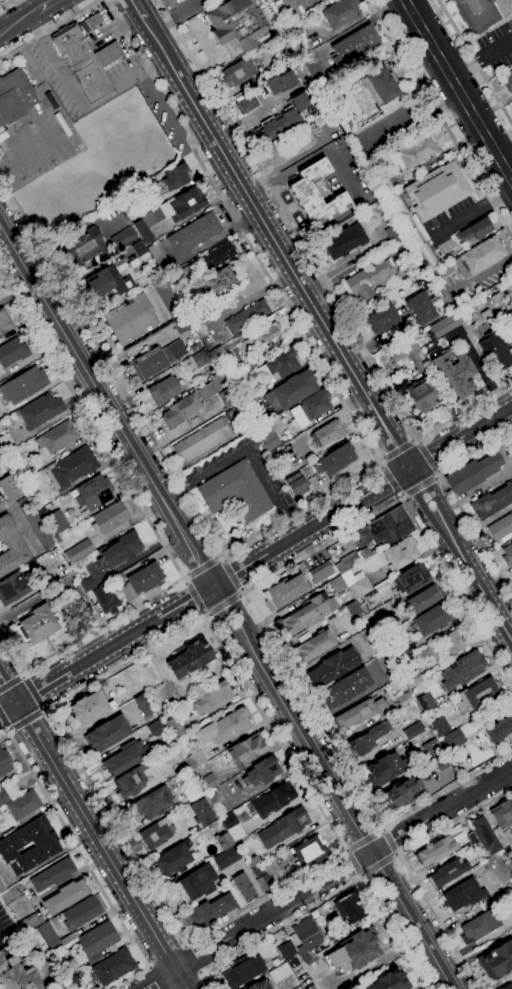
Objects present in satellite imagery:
road: (7, 4)
road: (46, 5)
road: (138, 8)
building: (340, 12)
building: (477, 14)
building: (93, 20)
road: (18, 21)
road: (2, 26)
building: (235, 26)
road: (47, 29)
road: (153, 33)
road: (179, 34)
flagpole: (115, 41)
building: (298, 42)
road: (205, 45)
building: (353, 45)
parking lot: (498, 46)
road: (149, 56)
road: (481, 59)
building: (86, 60)
road: (475, 61)
road: (172, 65)
building: (312, 66)
building: (238, 72)
building: (508, 80)
building: (281, 82)
building: (381, 85)
road: (458, 89)
road: (75, 95)
building: (15, 96)
building: (246, 103)
road: (251, 117)
road: (166, 118)
road: (441, 118)
building: (281, 120)
building: (349, 125)
park: (38, 145)
building: (289, 147)
building: (417, 152)
park: (15, 161)
road: (289, 161)
building: (175, 177)
building: (384, 182)
building: (300, 188)
building: (436, 189)
building: (398, 205)
building: (177, 207)
road: (472, 213)
building: (404, 217)
building: (472, 230)
building: (142, 231)
building: (394, 232)
building: (194, 233)
road: (218, 234)
building: (123, 237)
building: (344, 241)
building: (84, 247)
building: (404, 248)
building: (134, 250)
building: (219, 255)
building: (428, 256)
building: (479, 256)
building: (158, 257)
building: (109, 282)
building: (212, 282)
building: (369, 282)
building: (511, 289)
road: (337, 299)
building: (420, 308)
building: (501, 310)
building: (247, 316)
building: (130, 319)
building: (383, 319)
building: (5, 322)
building: (443, 324)
building: (181, 326)
building: (266, 337)
building: (510, 337)
building: (12, 351)
building: (495, 351)
building: (217, 355)
building: (409, 355)
building: (200, 358)
building: (157, 360)
road: (348, 361)
building: (280, 365)
building: (454, 374)
building: (238, 377)
building: (23, 384)
building: (399, 384)
building: (164, 390)
building: (292, 390)
building: (216, 391)
building: (421, 396)
road: (106, 405)
building: (247, 406)
building: (309, 408)
building: (40, 410)
building: (180, 410)
building: (233, 414)
building: (328, 433)
building: (57, 436)
building: (267, 437)
road: (415, 439)
road: (419, 440)
building: (201, 441)
road: (397, 449)
road: (246, 451)
road: (429, 456)
road: (380, 457)
building: (2, 458)
building: (335, 460)
road: (379, 462)
building: (71, 466)
road: (439, 473)
building: (473, 473)
building: (0, 475)
road: (437, 477)
road: (390, 479)
road: (339, 481)
building: (297, 484)
road: (420, 486)
building: (9, 489)
building: (94, 492)
building: (236, 492)
road: (401, 495)
road: (404, 496)
road: (453, 500)
building: (492, 501)
building: (111, 517)
road: (21, 522)
building: (35, 522)
building: (56, 522)
road: (150, 523)
building: (501, 527)
building: (384, 528)
building: (11, 547)
building: (120, 548)
building: (78, 550)
building: (401, 553)
building: (507, 555)
road: (218, 556)
road: (223, 558)
building: (353, 559)
road: (255, 561)
road: (202, 566)
building: (320, 572)
road: (231, 574)
road: (186, 576)
building: (145, 578)
building: (411, 579)
road: (185, 580)
building: (87, 583)
building: (336, 584)
building: (356, 584)
building: (13, 587)
road: (242, 590)
building: (284, 591)
building: (340, 592)
road: (241, 594)
road: (194, 596)
building: (424, 598)
building: (106, 600)
road: (249, 601)
road: (224, 603)
building: (353, 609)
road: (203, 612)
road: (207, 613)
building: (306, 614)
road: (205, 617)
building: (434, 618)
building: (39, 623)
building: (370, 640)
building: (315, 644)
building: (445, 645)
building: (398, 650)
road: (153, 656)
building: (189, 658)
building: (402, 666)
building: (332, 667)
building: (386, 667)
building: (462, 670)
building: (410, 679)
road: (13, 680)
building: (345, 688)
road: (8, 689)
road: (36, 691)
building: (477, 694)
building: (212, 697)
building: (404, 699)
building: (424, 701)
building: (143, 704)
building: (89, 707)
building: (359, 712)
road: (29, 722)
road: (4, 726)
building: (440, 726)
building: (223, 727)
building: (155, 728)
building: (172, 728)
road: (33, 729)
building: (499, 729)
building: (413, 730)
building: (107, 733)
building: (367, 738)
building: (452, 740)
building: (431, 748)
building: (245, 749)
building: (126, 757)
building: (194, 760)
building: (4, 761)
building: (442, 762)
building: (385, 769)
building: (261, 771)
building: (425, 776)
road: (271, 780)
building: (208, 781)
building: (129, 782)
road: (332, 787)
building: (400, 793)
building: (3, 796)
building: (214, 796)
building: (272, 800)
building: (152, 802)
building: (24, 805)
building: (202, 812)
building: (0, 813)
building: (502, 814)
building: (233, 827)
building: (282, 828)
road: (383, 829)
building: (157, 833)
building: (482, 835)
building: (224, 840)
road: (365, 840)
road: (389, 842)
building: (13, 843)
road: (346, 849)
building: (435, 850)
building: (308, 851)
road: (397, 854)
building: (226, 857)
building: (172, 859)
building: (253, 861)
road: (354, 861)
building: (486, 862)
road: (86, 864)
road: (378, 865)
road: (406, 865)
road: (117, 872)
building: (447, 872)
building: (52, 874)
road: (361, 875)
building: (263, 879)
road: (325, 879)
building: (196, 882)
building: (243, 886)
road: (337, 892)
building: (463, 894)
building: (66, 896)
building: (350, 908)
building: (209, 911)
building: (83, 912)
building: (479, 925)
building: (46, 930)
building: (306, 937)
building: (332, 937)
building: (97, 941)
building: (54, 942)
building: (285, 949)
building: (355, 951)
building: (264, 952)
road: (196, 957)
building: (499, 957)
building: (114, 966)
building: (242, 970)
building: (279, 972)
building: (17, 976)
road: (154, 977)
road: (209, 981)
building: (388, 981)
building: (257, 985)
building: (507, 986)

